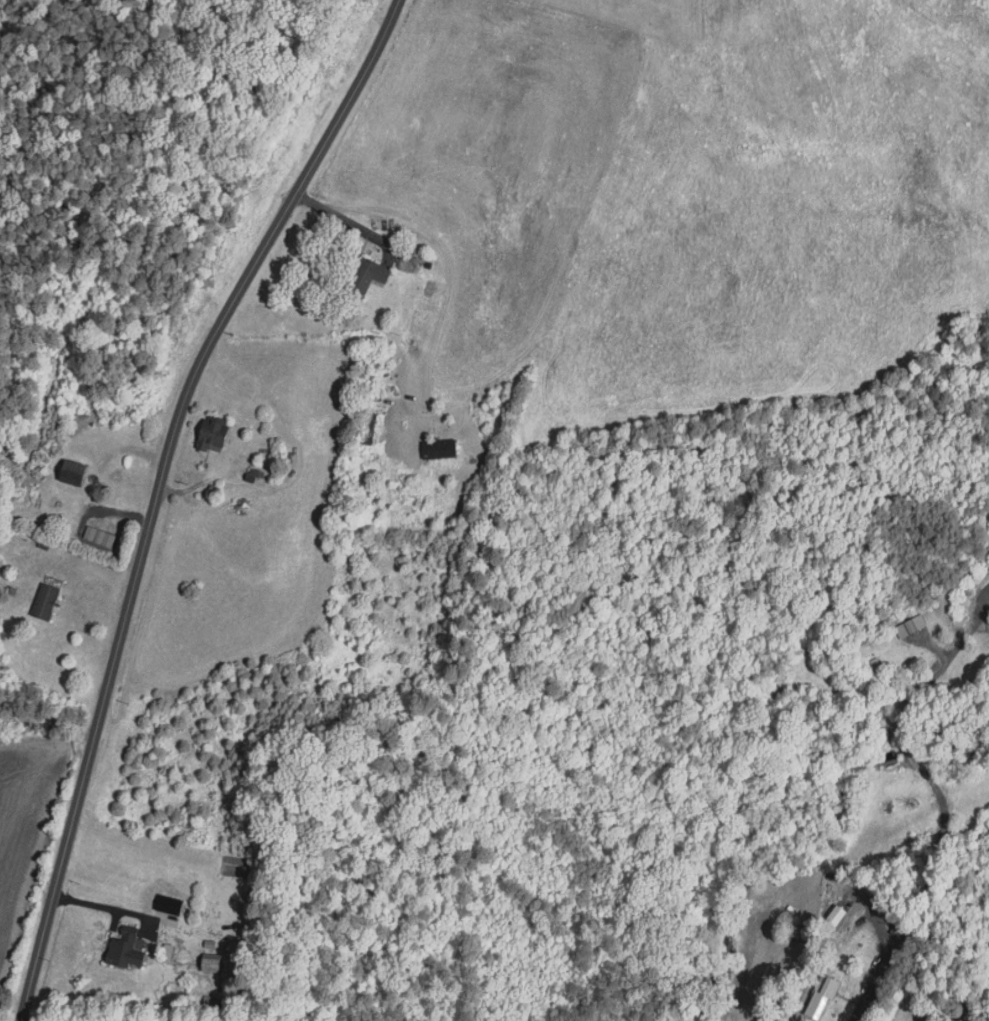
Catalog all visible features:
building: (363, 279)
building: (208, 436)
building: (436, 448)
building: (68, 474)
road: (157, 489)
building: (42, 601)
building: (774, 692)
road: (929, 780)
building: (835, 910)
building: (120, 949)
building: (208, 963)
road: (878, 984)
building: (819, 999)

